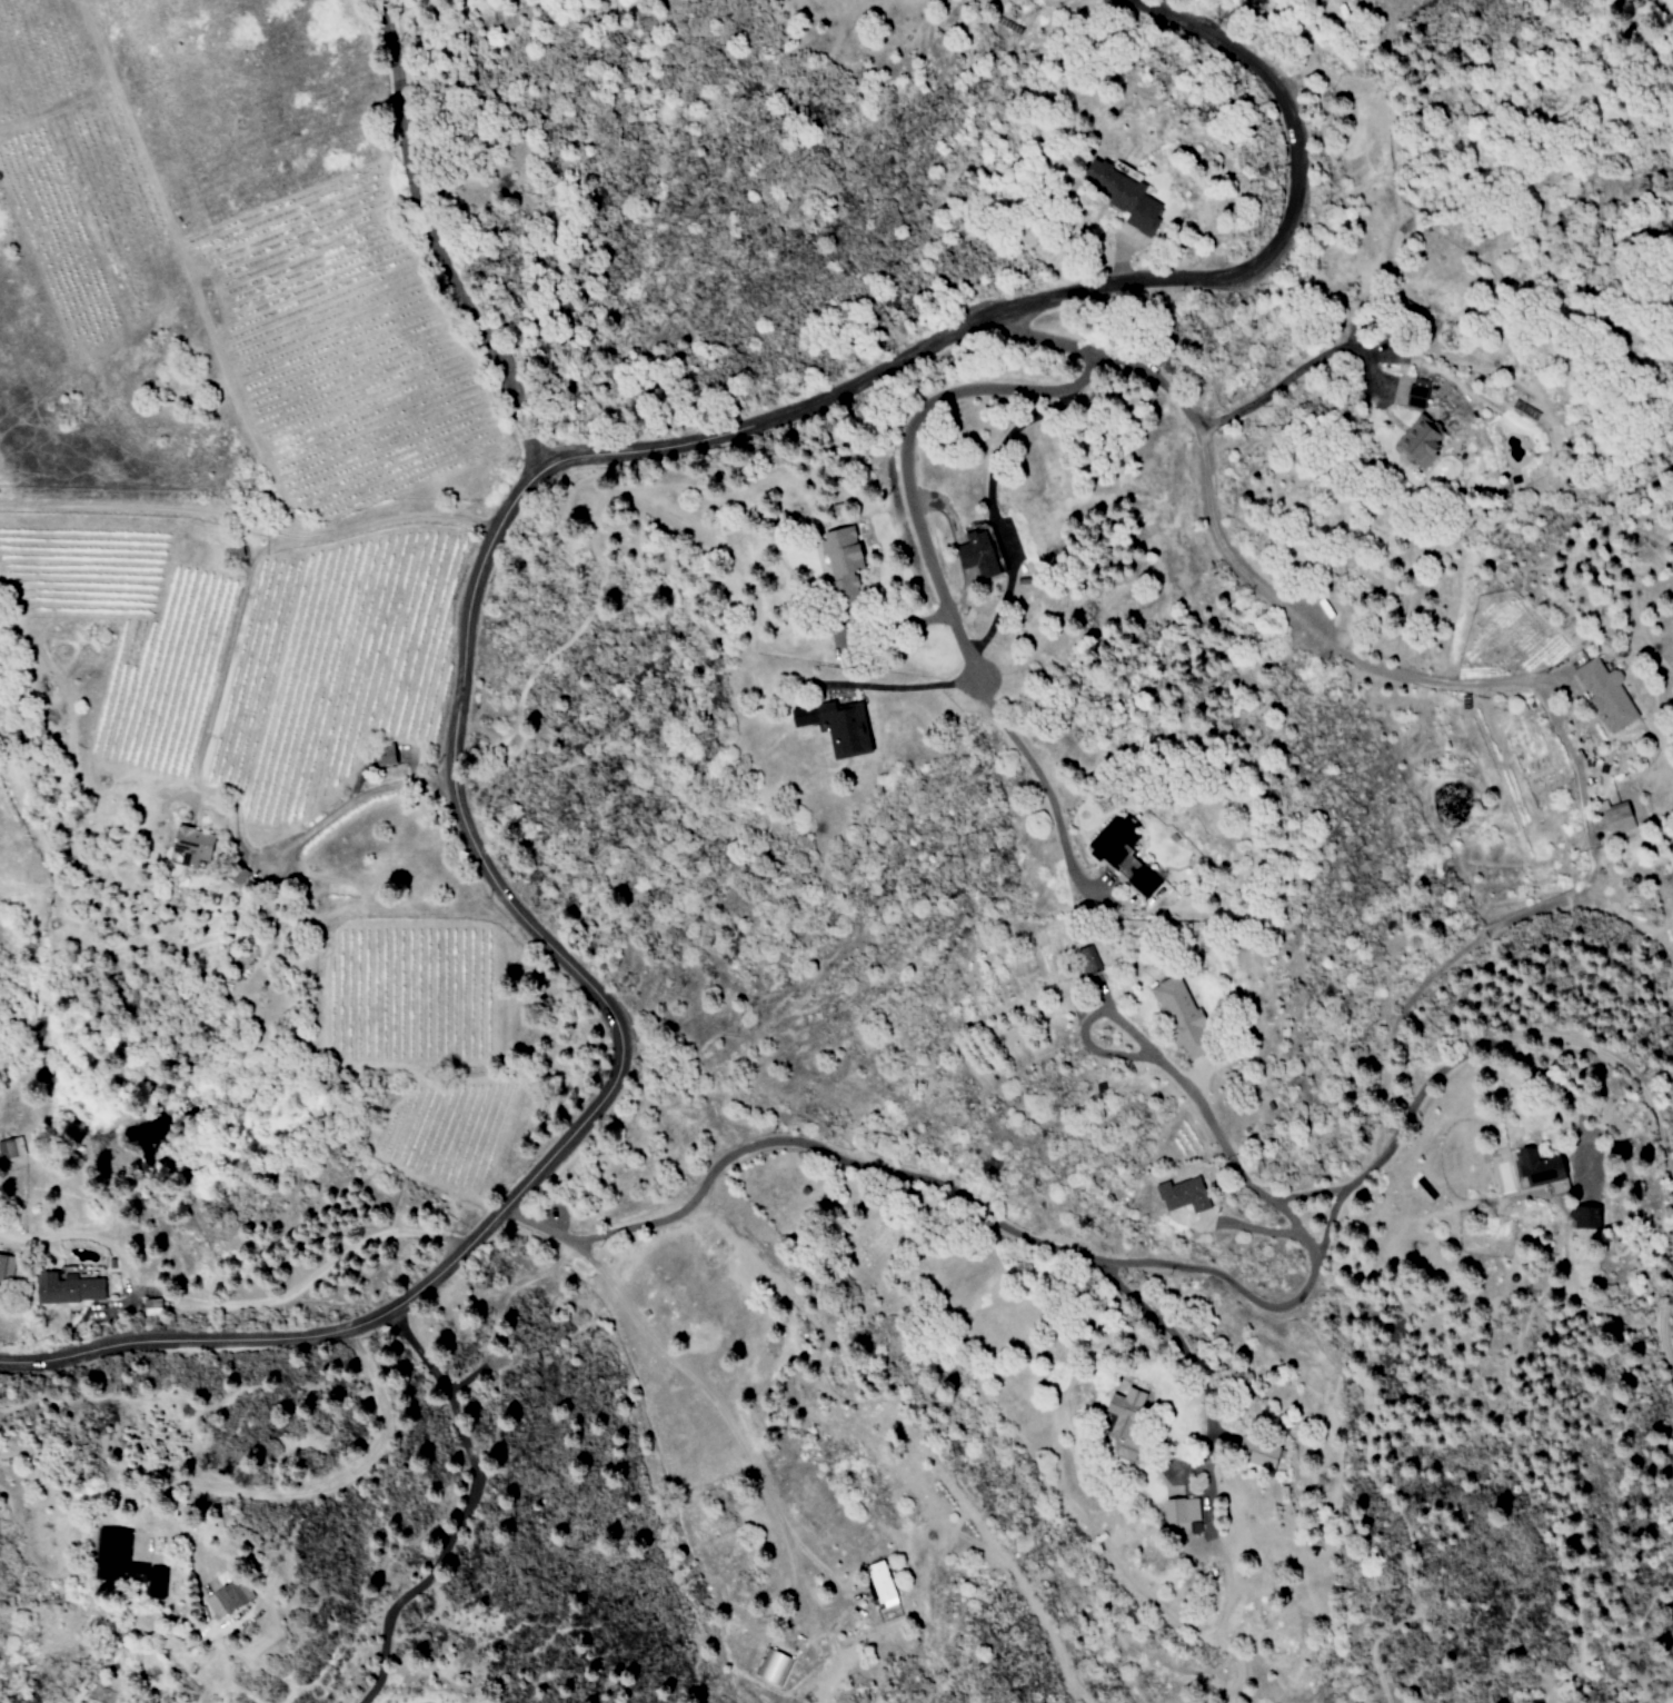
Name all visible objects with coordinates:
building: (1123, 196)
road: (434, 241)
crop: (675, 327)
road: (1293, 372)
building: (1417, 392)
crop: (113, 419)
road: (1193, 424)
road: (1003, 436)
building: (1420, 441)
road: (902, 450)
road: (582, 455)
road: (147, 512)
crop: (289, 516)
road: (261, 550)
building: (975, 555)
building: (838, 558)
road: (905, 685)
building: (1606, 696)
building: (836, 726)
building: (384, 756)
road: (1045, 790)
road: (340, 807)
building: (1617, 818)
building: (189, 848)
road: (1591, 855)
building: (1122, 856)
building: (1083, 958)
building: (1179, 1015)
road: (1186, 1092)
building: (10, 1147)
building: (1535, 1166)
building: (1182, 1194)
building: (1581, 1216)
road: (1255, 1228)
building: (6, 1267)
road: (297, 1285)
building: (66, 1288)
road: (1259, 1304)
building: (151, 1306)
road: (497, 1307)
road: (192, 1337)
road: (1204, 1385)
building: (1123, 1420)
road: (746, 1454)
road: (313, 1492)
building: (1179, 1510)
road: (462, 1511)
building: (123, 1563)
building: (878, 1581)
building: (226, 1599)
building: (773, 1666)

